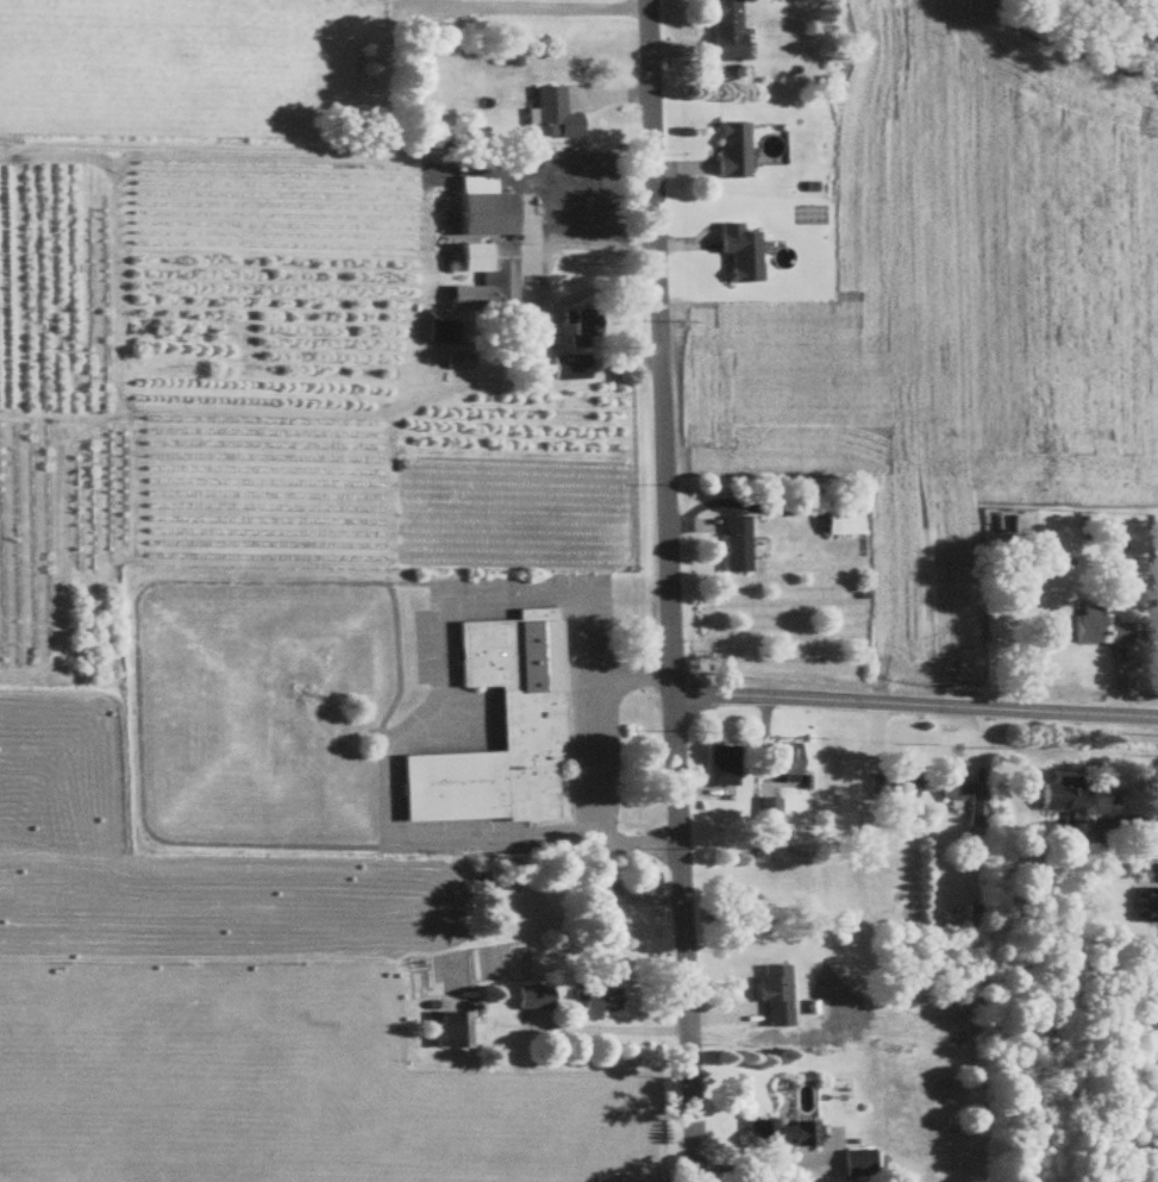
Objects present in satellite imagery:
building: (722, 30)
building: (550, 115)
building: (730, 151)
building: (564, 198)
building: (482, 215)
road: (533, 275)
building: (499, 281)
building: (576, 329)
crop: (242, 334)
building: (456, 364)
road: (737, 507)
building: (837, 523)
building: (732, 545)
road: (669, 590)
building: (1096, 631)
road: (915, 703)
building: (496, 732)
building: (780, 762)
road: (594, 763)
building: (718, 767)
road: (1141, 774)
building: (899, 786)
building: (963, 800)
building: (1059, 807)
building: (764, 811)
building: (595, 889)
building: (1144, 907)
building: (602, 923)
building: (770, 984)
building: (530, 999)
building: (593, 1001)
building: (452, 1031)
road: (599, 1032)
building: (777, 1134)
road: (763, 1163)
building: (856, 1164)

